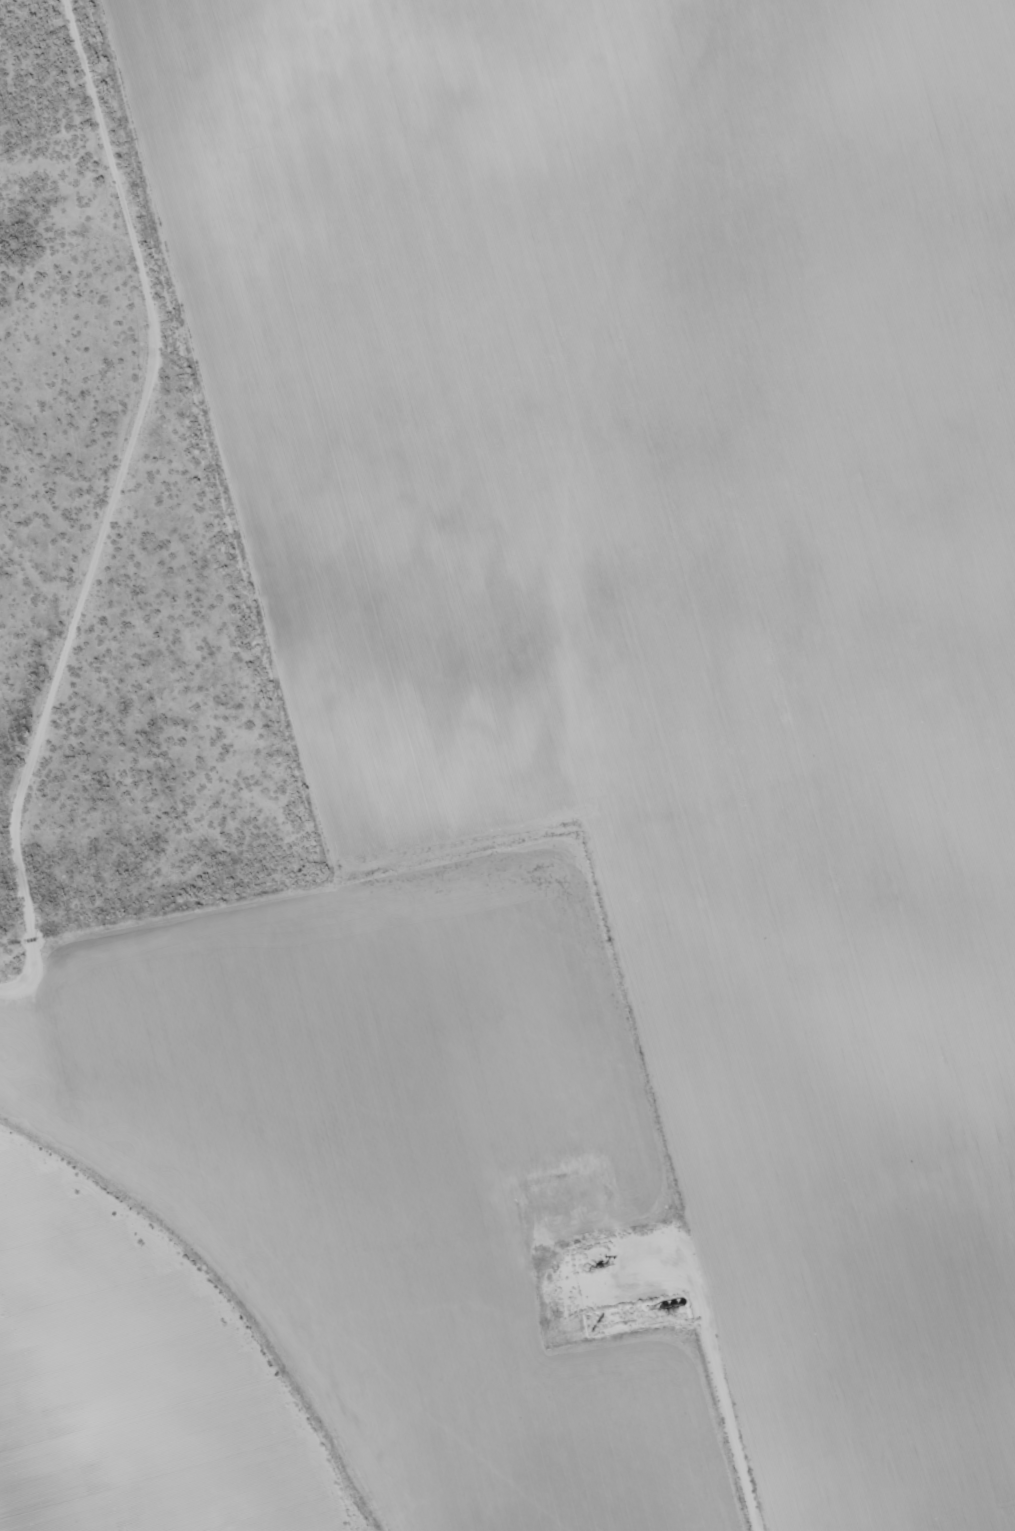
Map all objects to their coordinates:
river: (29, 1479)

